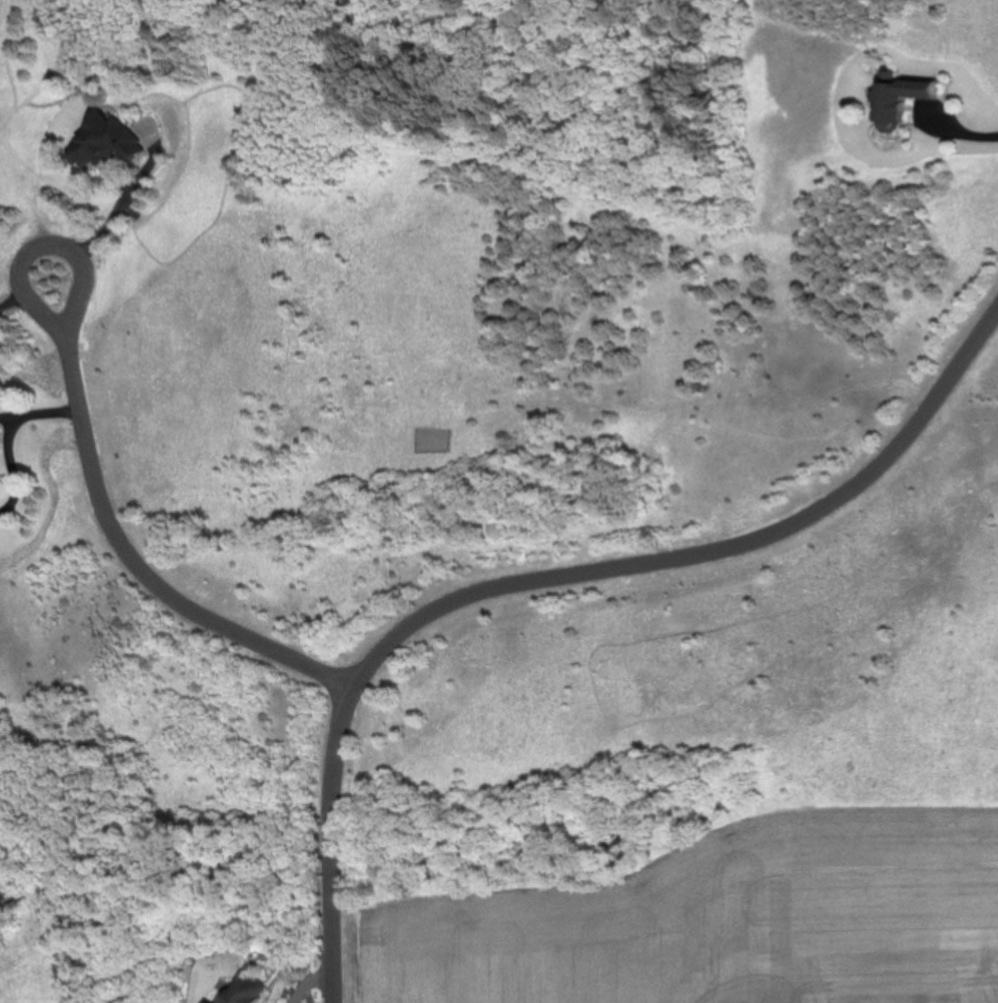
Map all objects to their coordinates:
building: (892, 111)
road: (963, 129)
building: (115, 143)
road: (120, 204)
road: (24, 288)
road: (14, 301)
road: (45, 412)
road: (5, 416)
road: (11, 467)
road: (141, 564)
road: (545, 577)
road: (312, 980)
building: (248, 990)
building: (209, 1002)

